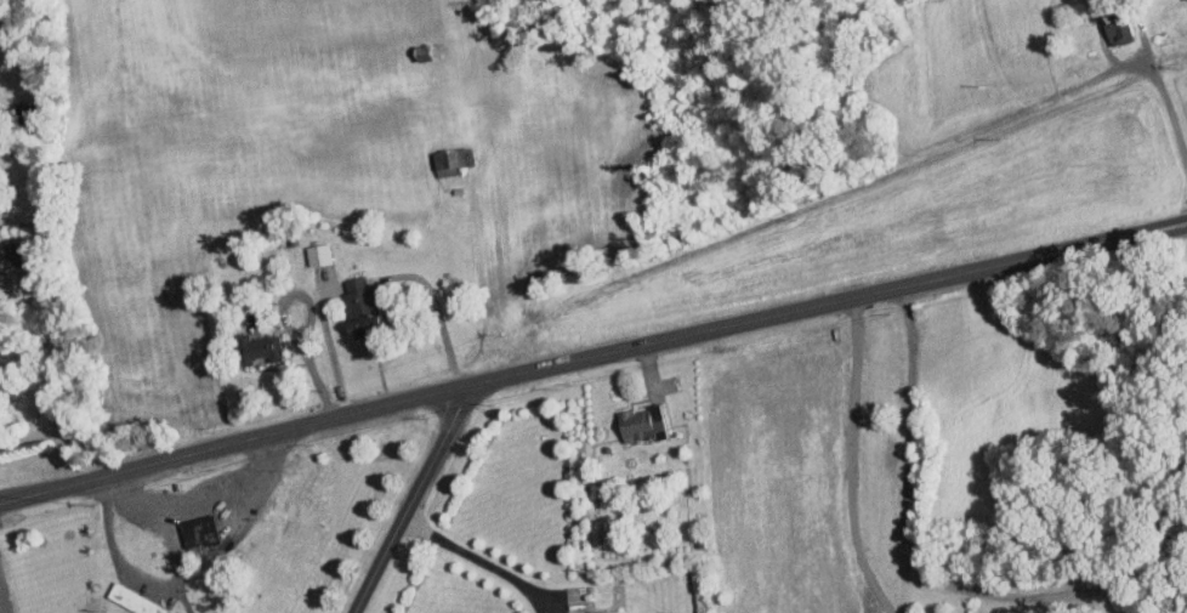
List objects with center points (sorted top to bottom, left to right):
building: (1177, 0)
building: (1115, 24)
road: (1146, 70)
building: (450, 160)
building: (318, 254)
building: (359, 305)
road: (284, 319)
building: (255, 347)
road: (331, 351)
road: (591, 356)
building: (640, 424)
road: (850, 459)
road: (239, 498)
road: (126, 499)
road: (413, 500)
building: (199, 534)
road: (913, 554)
road: (483, 561)
road: (138, 579)
building: (134, 601)
road: (0, 609)
building: (240, 612)
building: (607, 612)

